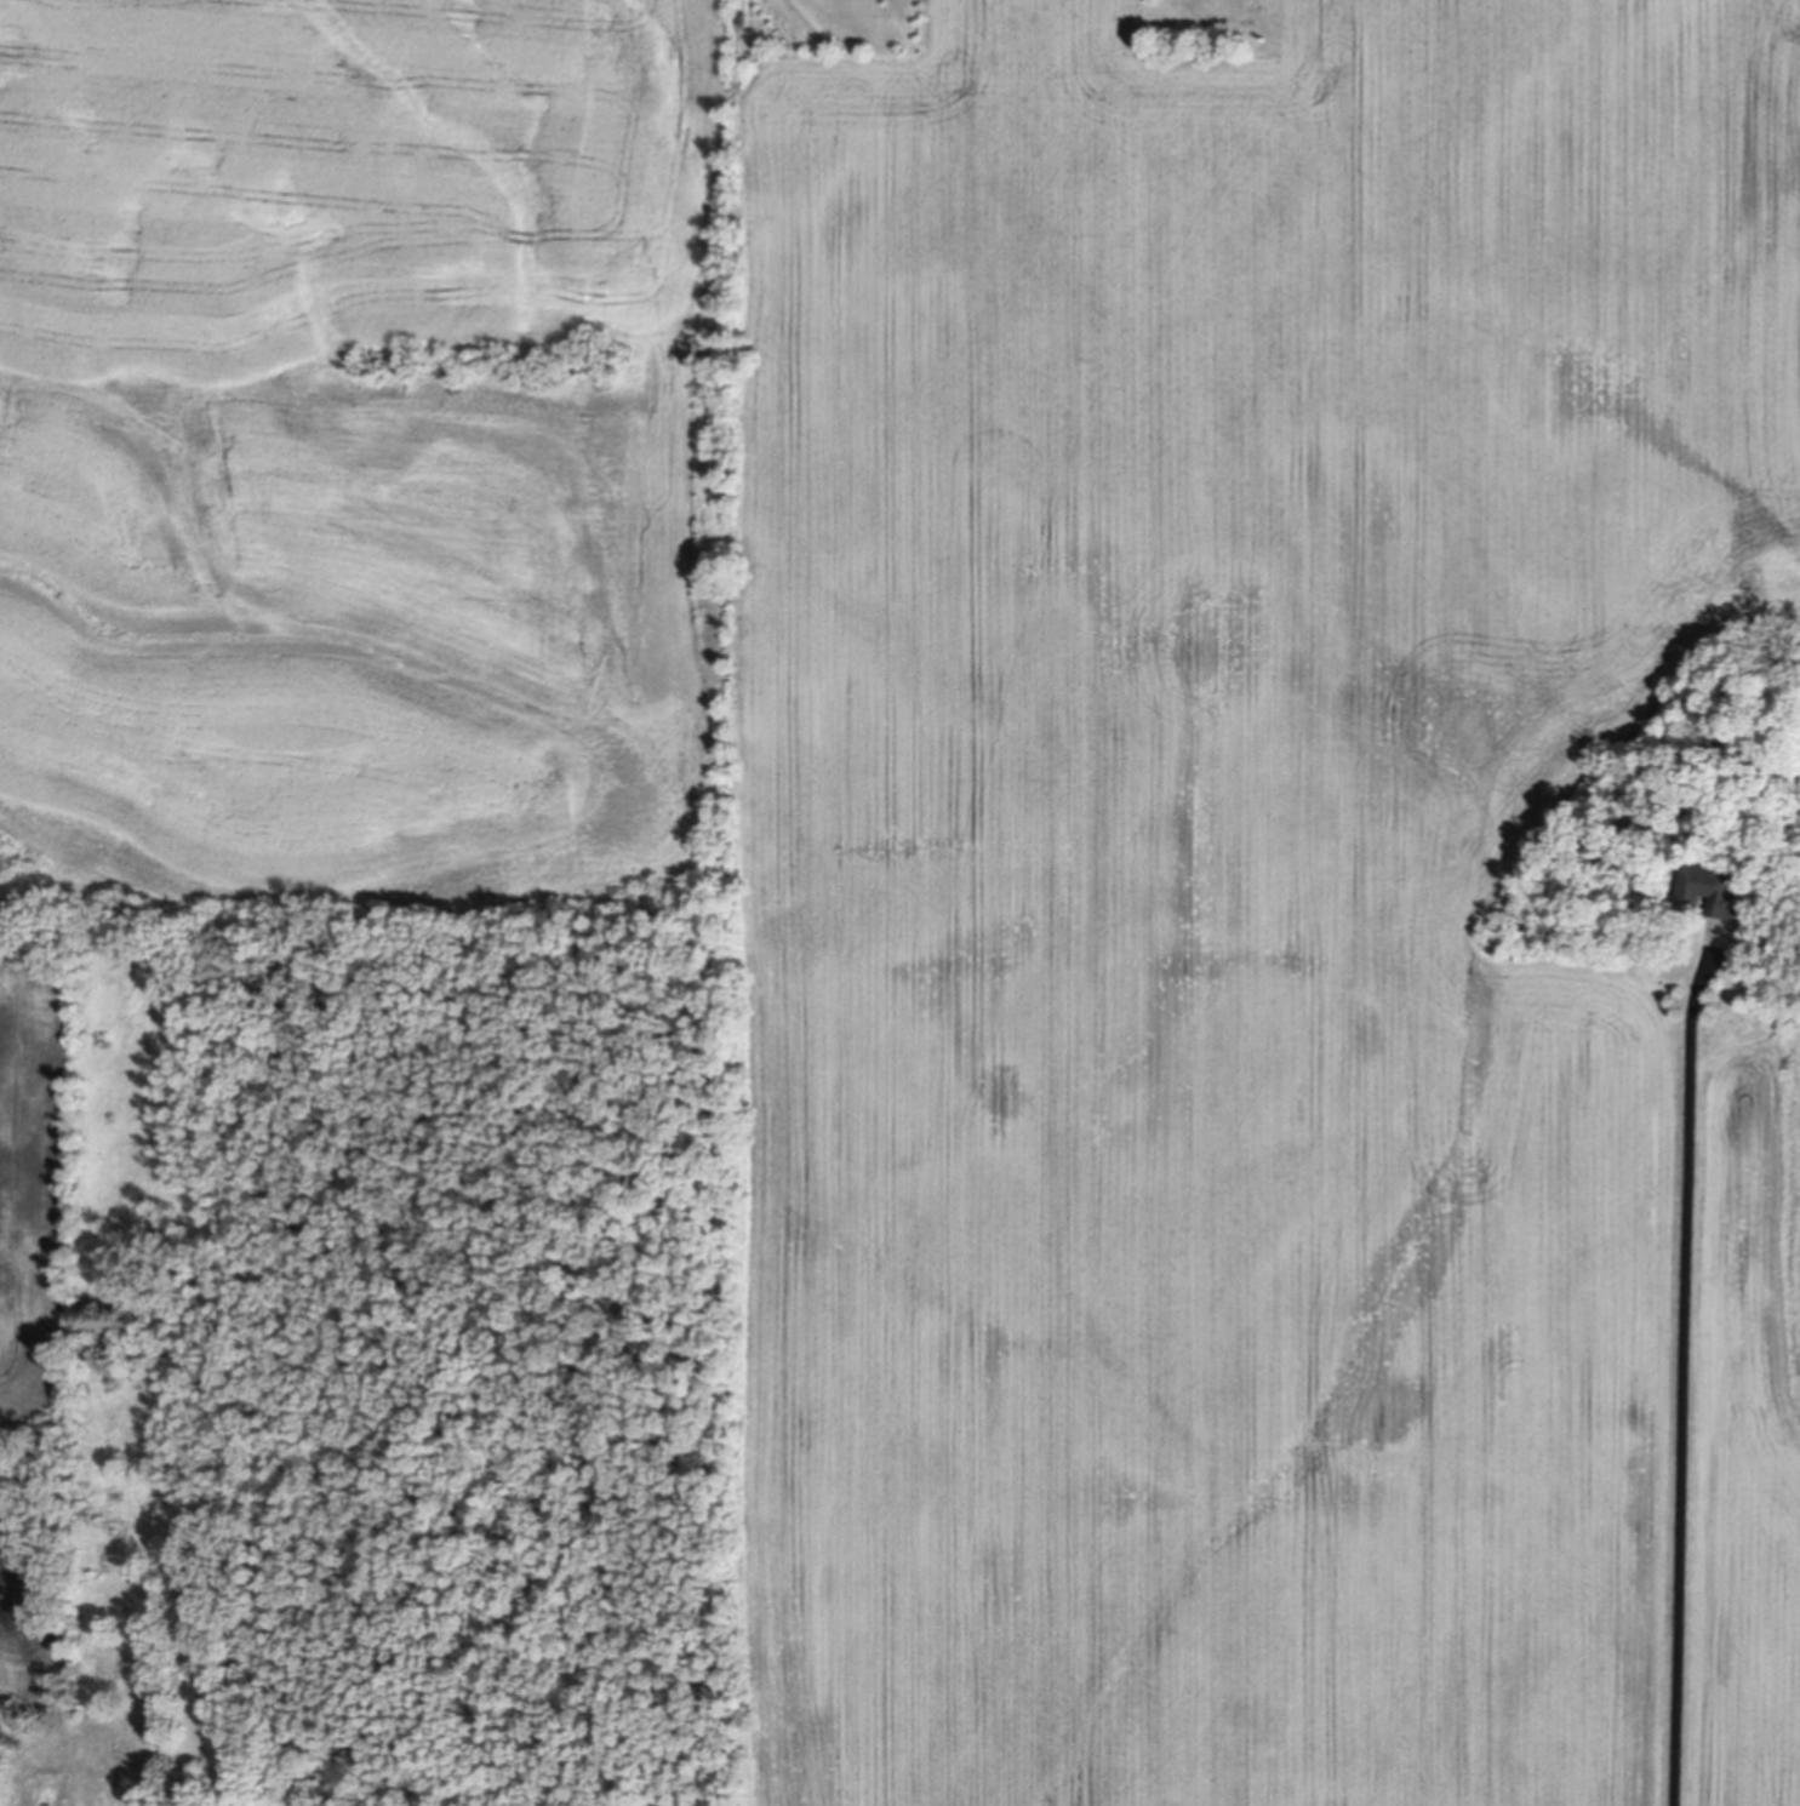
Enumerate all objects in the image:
building: (742, 19)
building: (1716, 896)
road: (1686, 1370)

